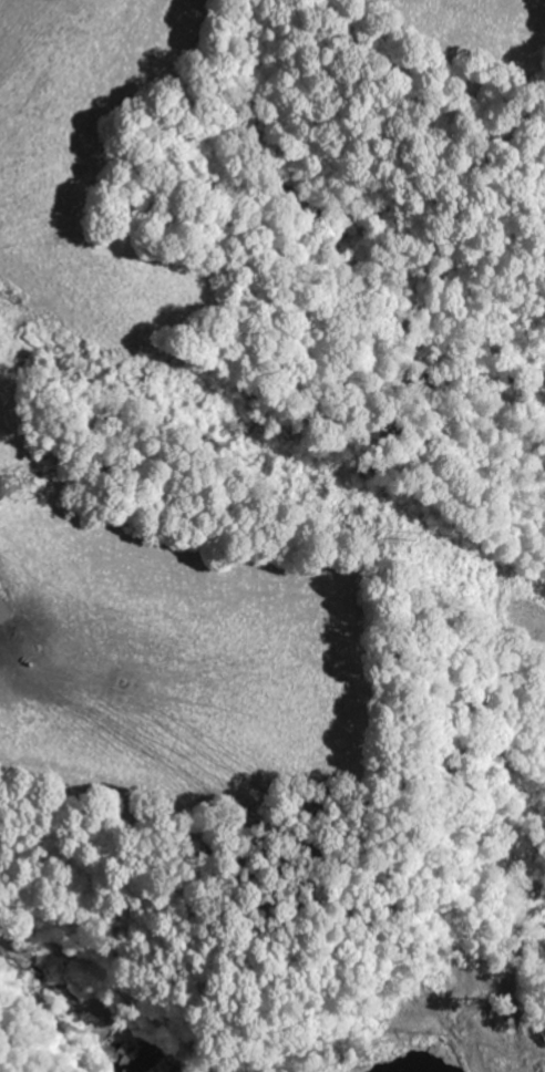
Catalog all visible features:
building: (8, 607)

